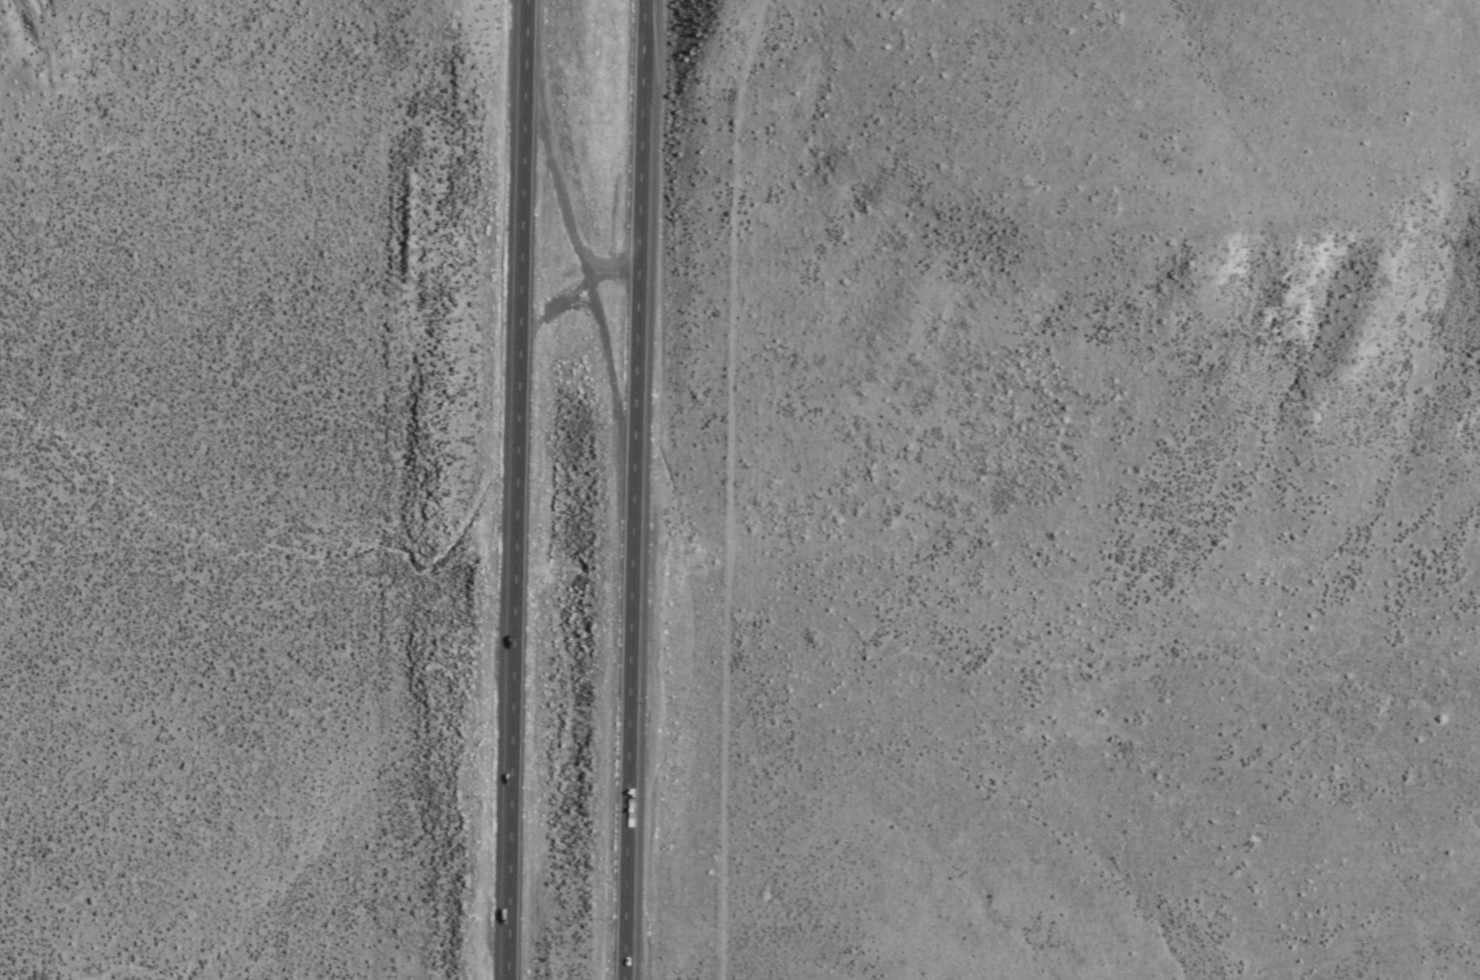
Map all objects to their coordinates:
road: (724, 486)
crop: (587, 487)
road: (519, 490)
road: (634, 490)

